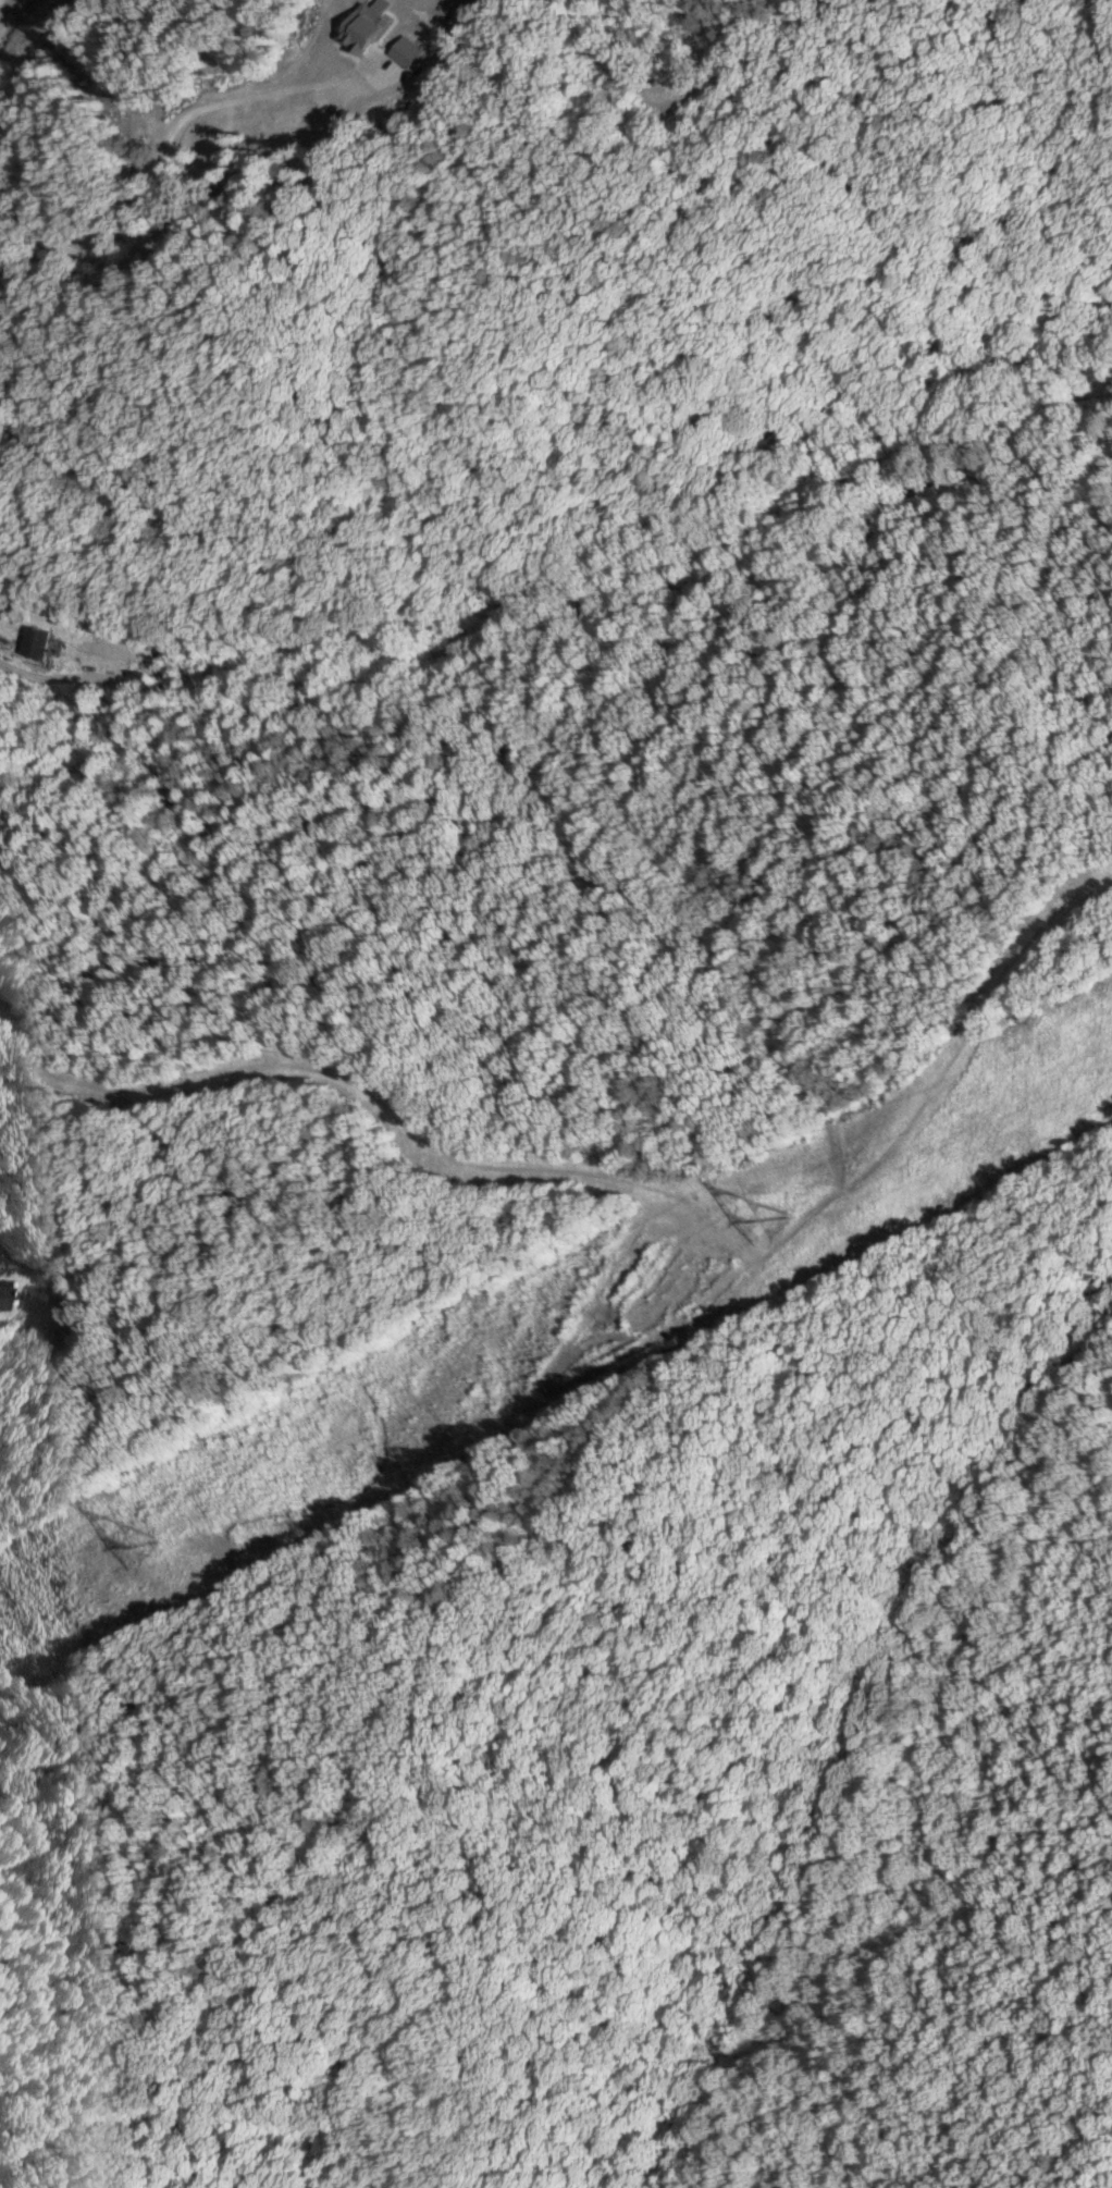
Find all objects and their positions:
road: (86, 564)
building: (34, 640)
road: (258, 665)
power tower: (788, 1213)
power tower: (150, 1536)

